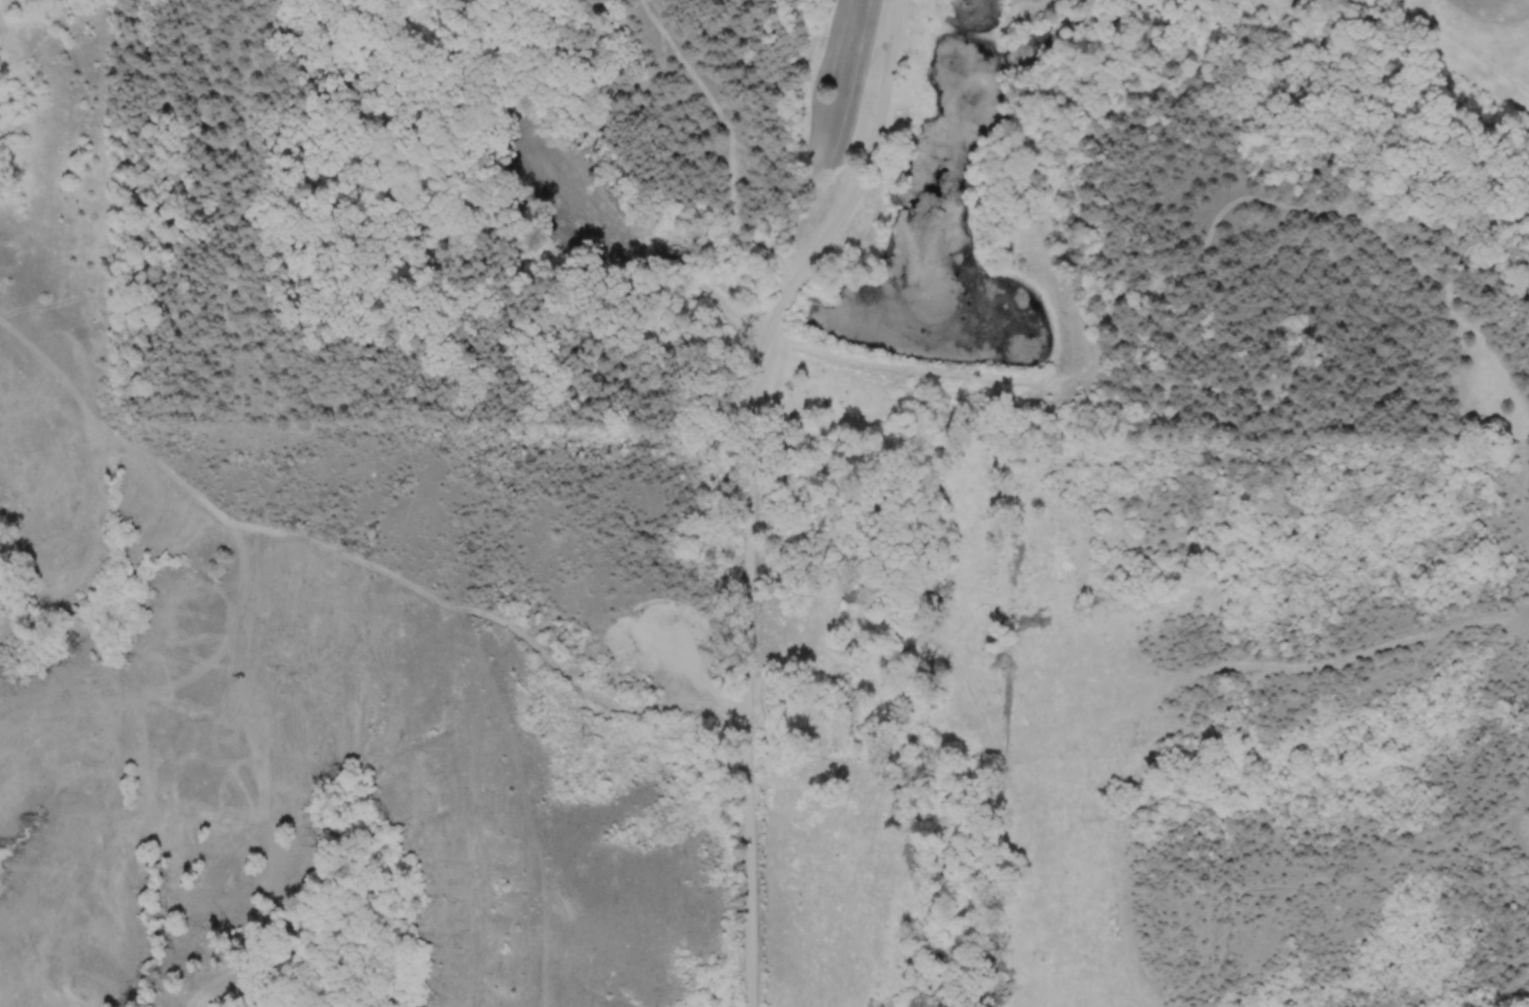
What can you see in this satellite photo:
road: (746, 484)

